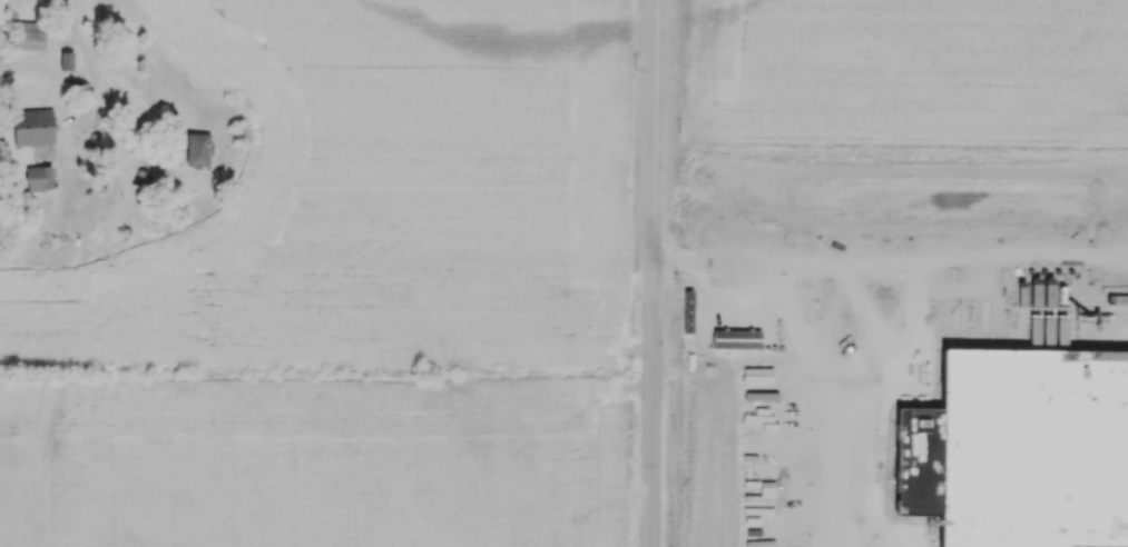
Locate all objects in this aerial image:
building: (28, 37)
building: (67, 61)
road: (99, 66)
building: (33, 128)
building: (198, 150)
building: (39, 179)
road: (655, 272)
crop: (351, 299)

